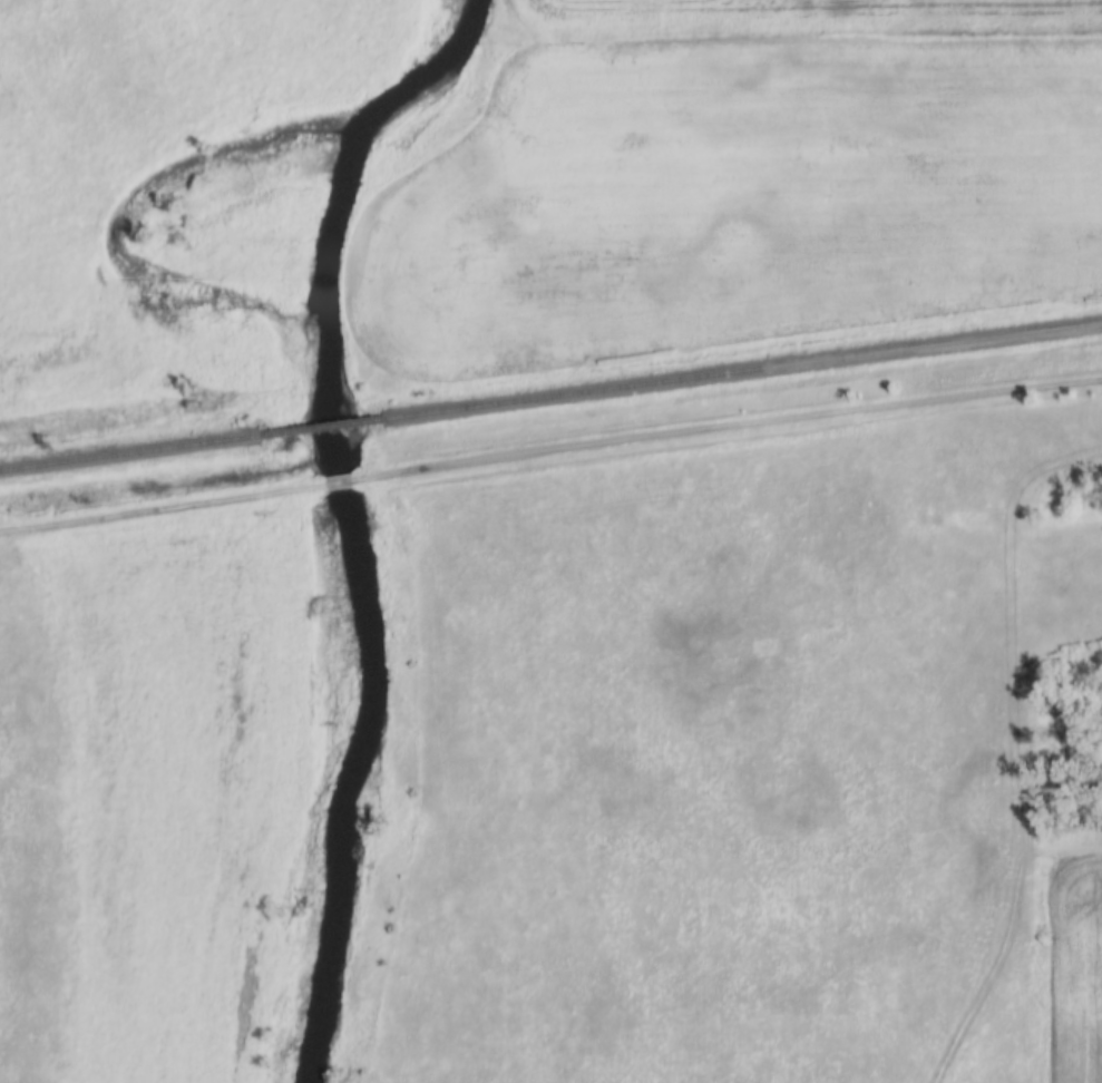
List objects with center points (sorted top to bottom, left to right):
railway: (742, 369)
railway: (321, 426)
road: (725, 430)
railway: (129, 451)
road: (337, 480)
road: (162, 509)
river: (345, 519)

